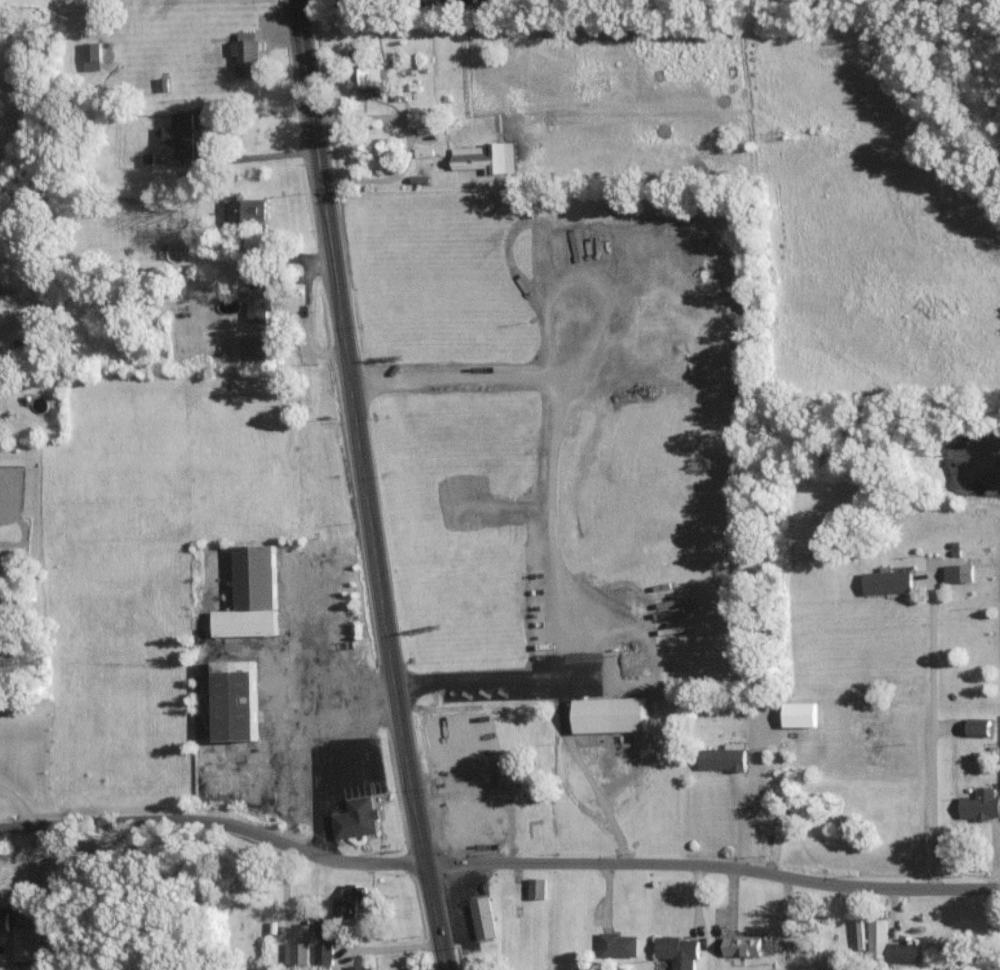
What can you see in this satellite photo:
building: (245, 54)
building: (91, 55)
road: (347, 74)
building: (365, 83)
building: (420, 118)
building: (180, 135)
building: (484, 158)
building: (246, 209)
building: (257, 301)
road: (340, 307)
building: (257, 346)
road: (550, 508)
building: (958, 573)
building: (886, 581)
building: (249, 594)
building: (233, 699)
building: (609, 714)
building: (799, 714)
building: (977, 727)
road: (934, 728)
building: (722, 757)
building: (506, 770)
road: (413, 793)
building: (980, 804)
road: (20, 805)
road: (748, 809)
building: (355, 818)
road: (214, 821)
road: (712, 870)
building: (537, 888)
building: (349, 900)
building: (482, 917)
building: (3, 922)
building: (322, 925)
building: (26, 943)
building: (618, 944)
building: (741, 945)
building: (890, 945)
building: (678, 951)
building: (296, 952)
building: (324, 954)
building: (840, 965)
building: (360, 967)

